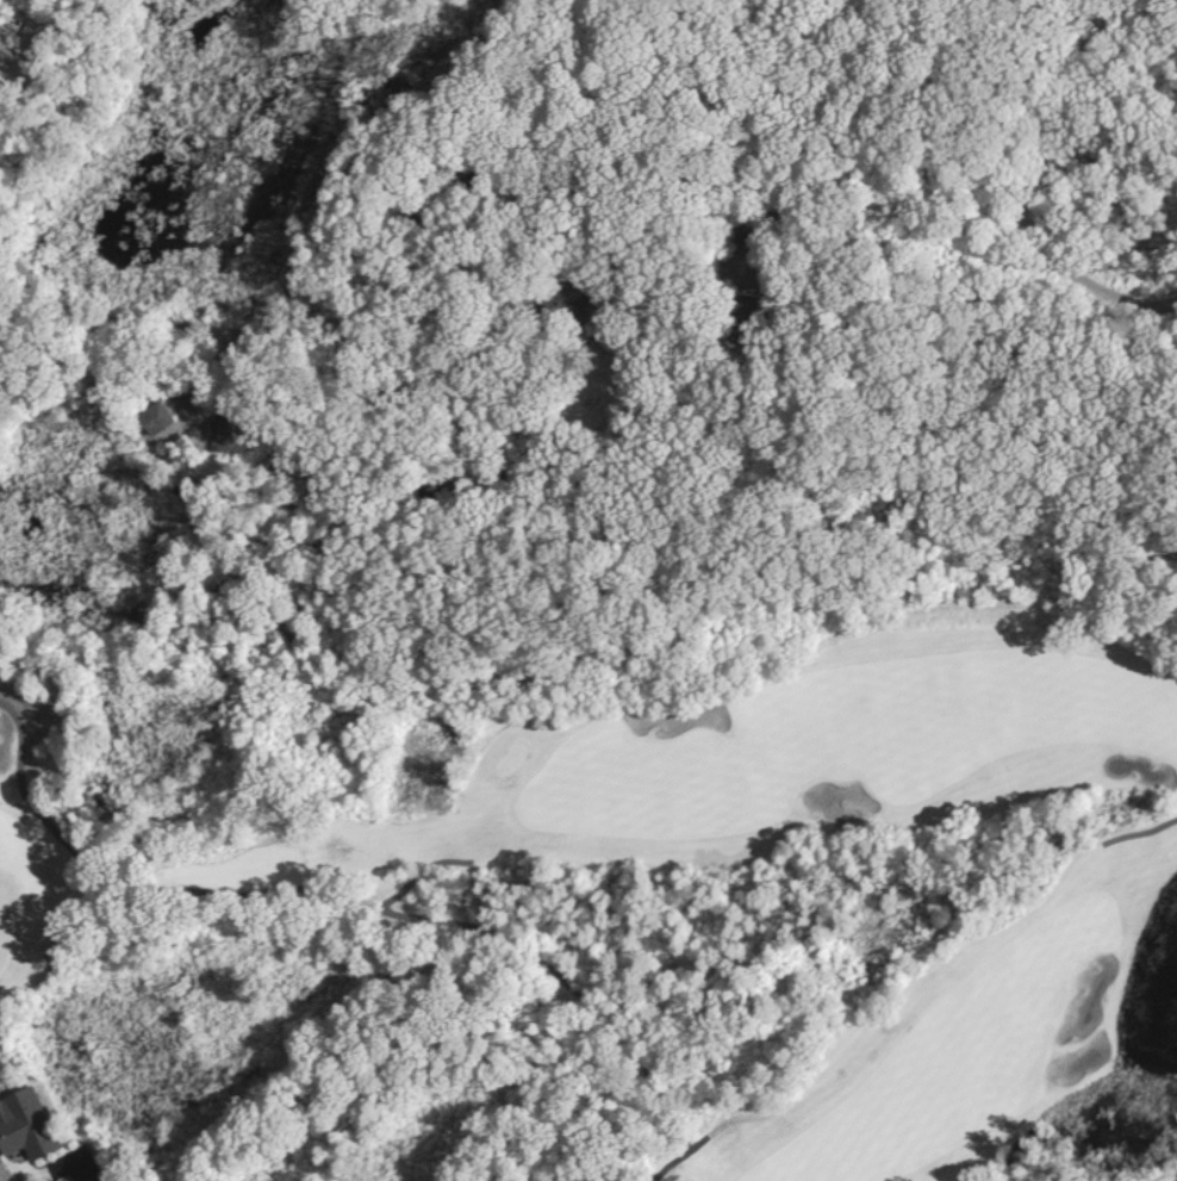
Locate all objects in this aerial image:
building: (1, 42)
road: (1003, 210)
building: (752, 307)
road: (399, 311)
road: (1165, 658)
road: (14, 725)
road: (1140, 833)
road: (411, 877)
park: (585, 891)
road: (361, 912)
building: (24, 1126)
road: (674, 1158)
road: (71, 1173)
building: (55, 1180)

